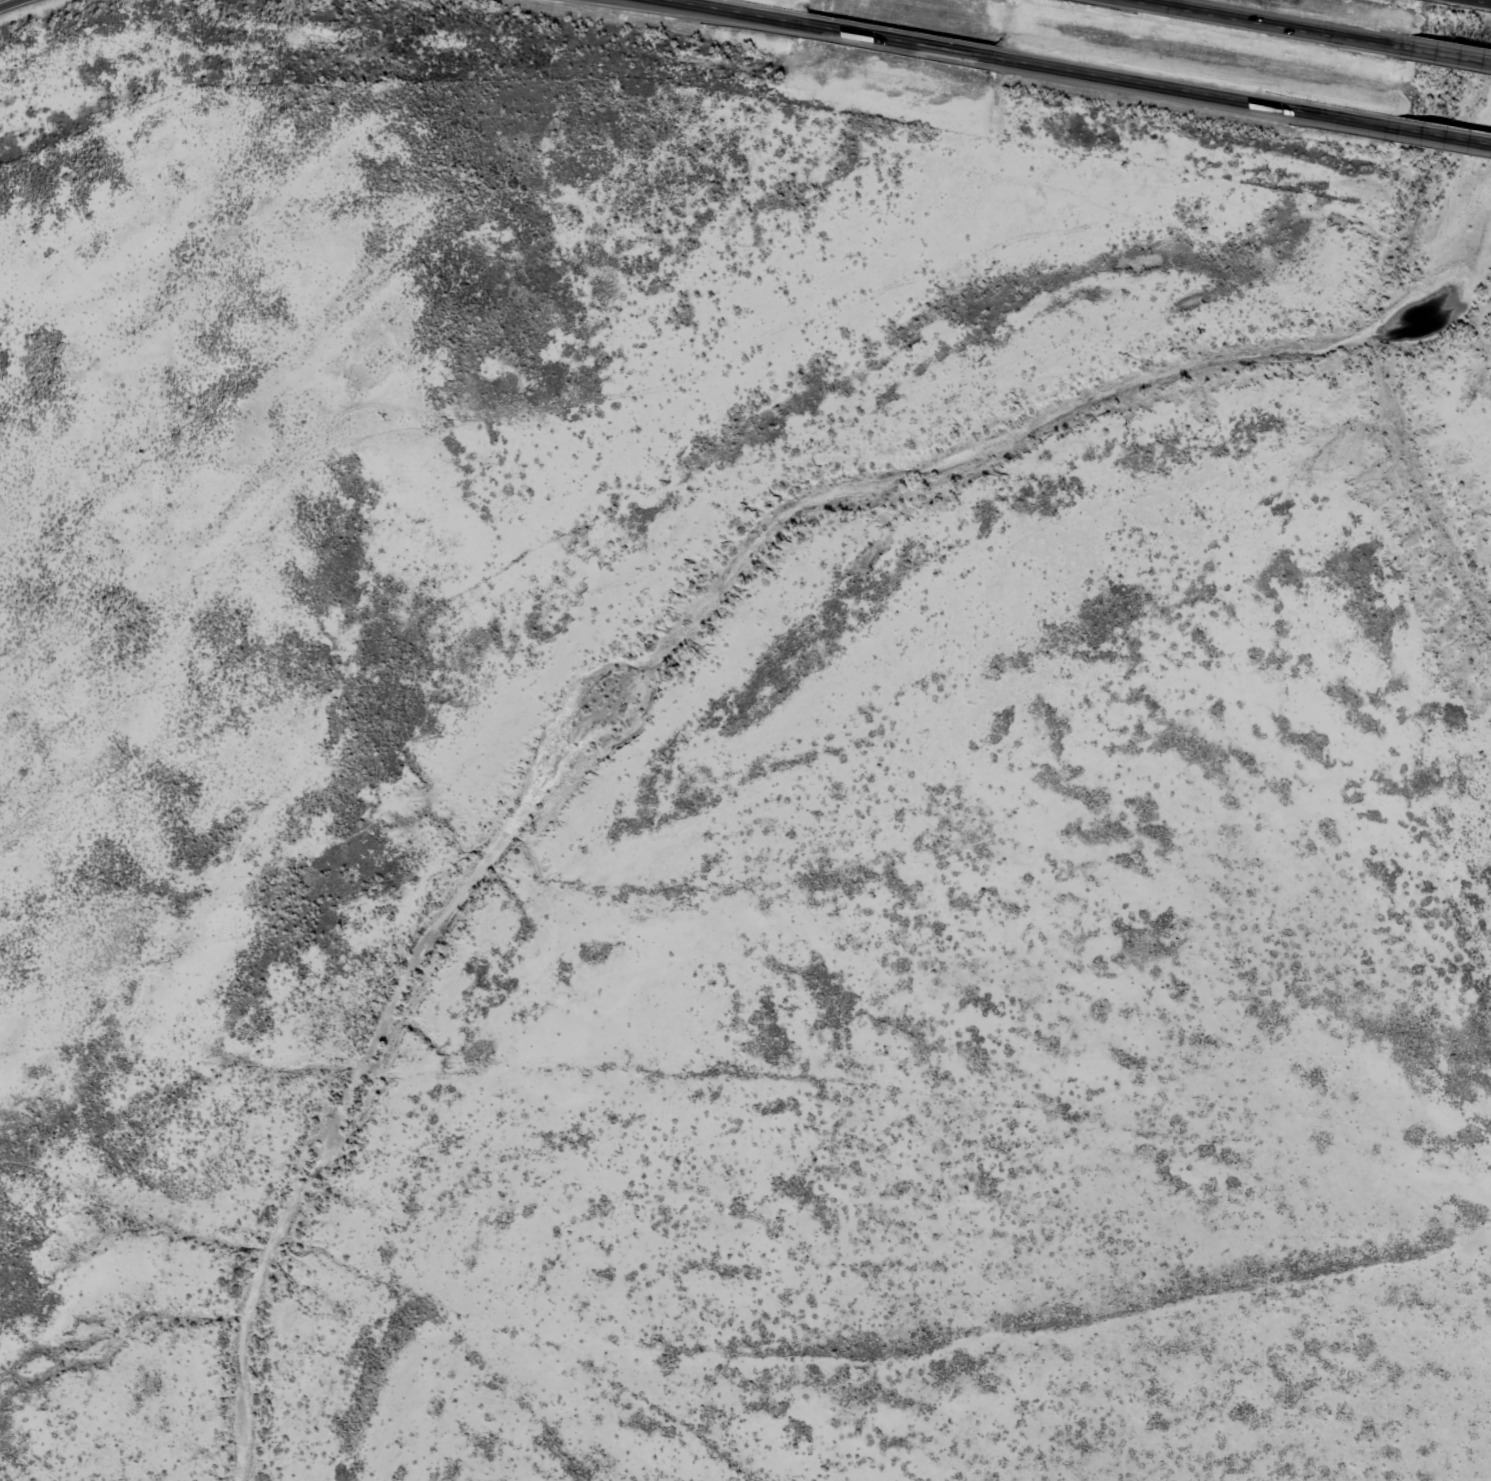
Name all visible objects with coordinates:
road: (1476, 2)
road: (10, 4)
road: (729, 11)
road: (1273, 23)
road: (900, 40)
road: (1451, 54)
road: (1198, 93)
road: (1445, 136)

